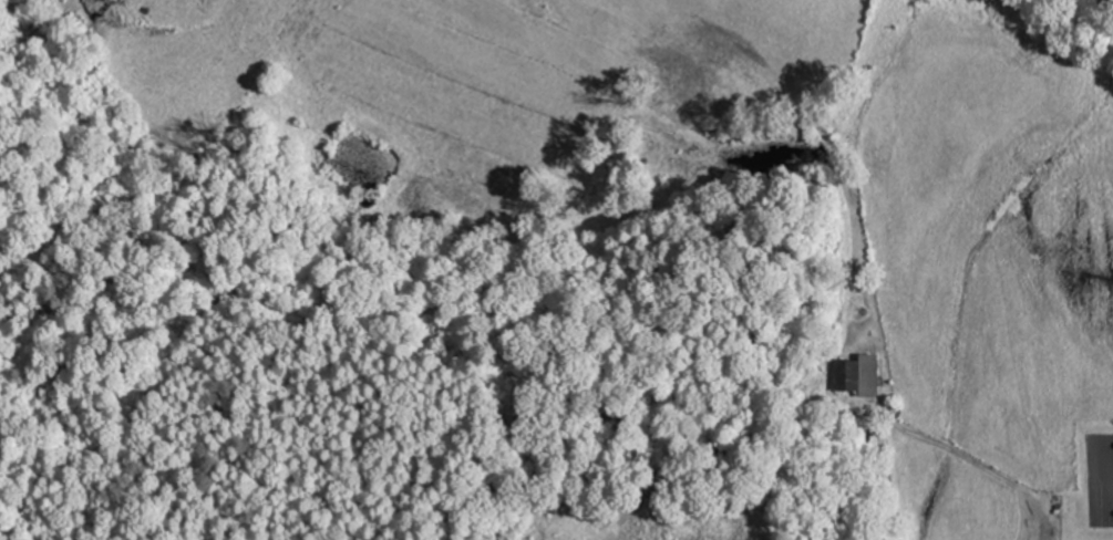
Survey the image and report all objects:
building: (864, 376)

